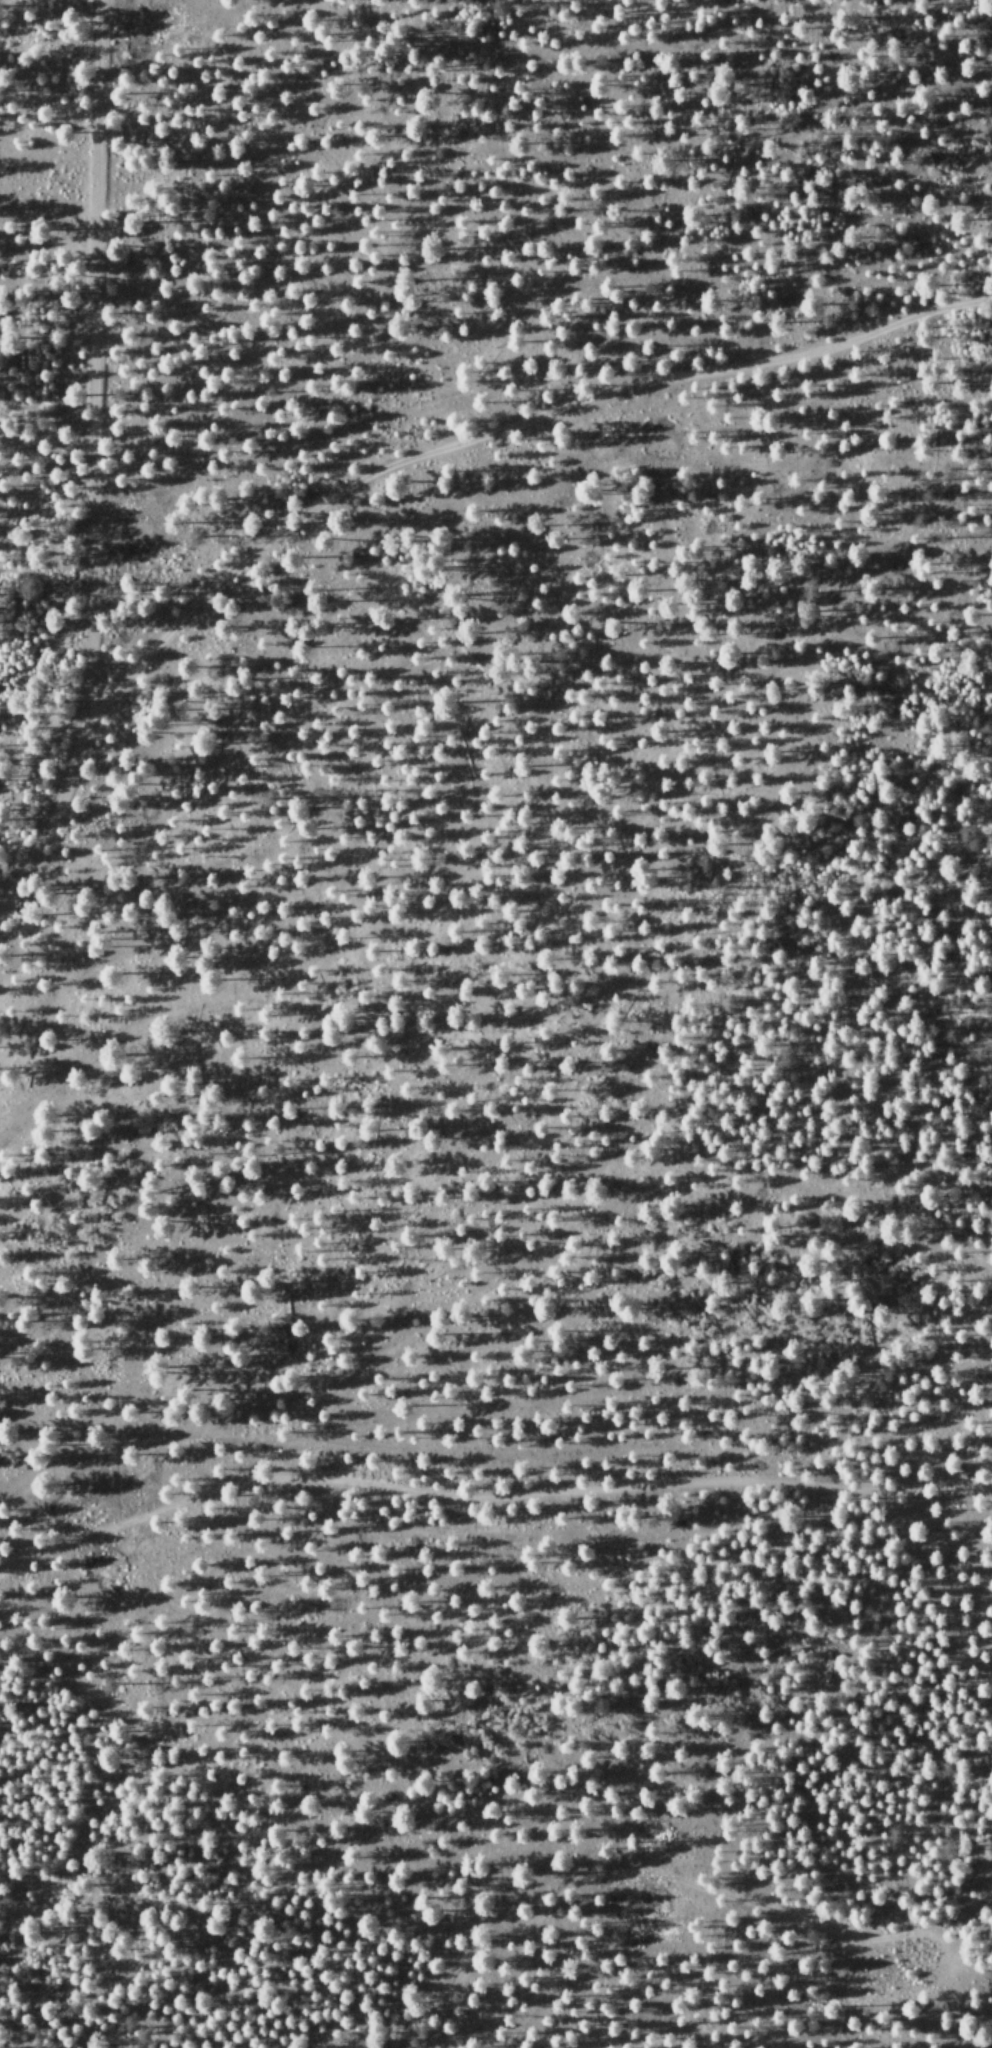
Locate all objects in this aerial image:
road: (702, 412)
road: (366, 665)

